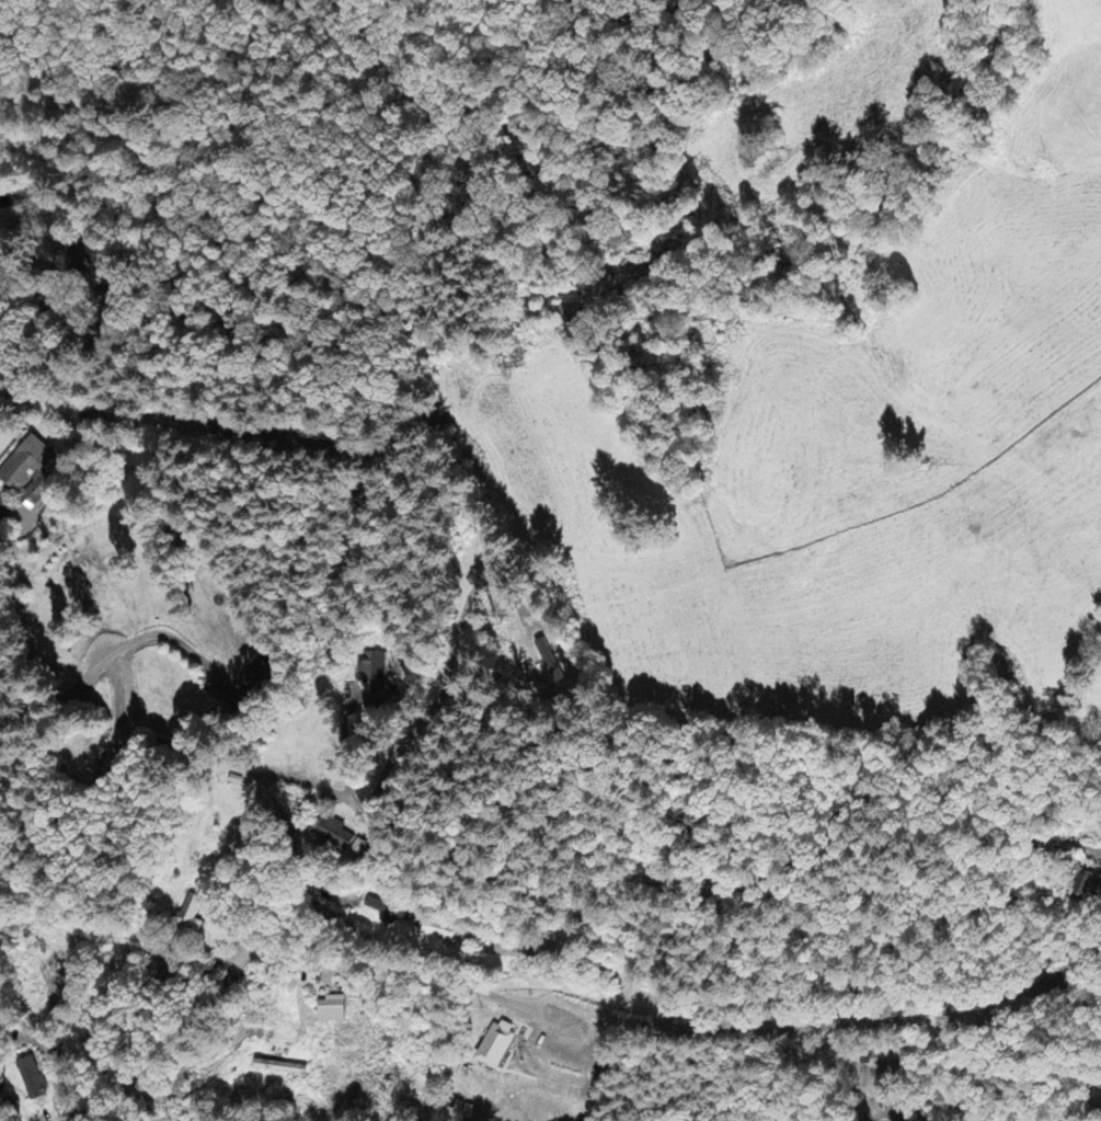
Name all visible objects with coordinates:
building: (27, 472)
building: (548, 661)
building: (256, 674)
building: (371, 674)
road: (2, 799)
building: (333, 835)
building: (358, 849)
building: (1082, 884)
road: (480, 913)
building: (191, 915)
building: (389, 915)
building: (438, 931)
road: (1057, 950)
road: (488, 979)
building: (330, 1011)
building: (494, 1046)
building: (278, 1069)
building: (31, 1080)
road: (83, 1112)

